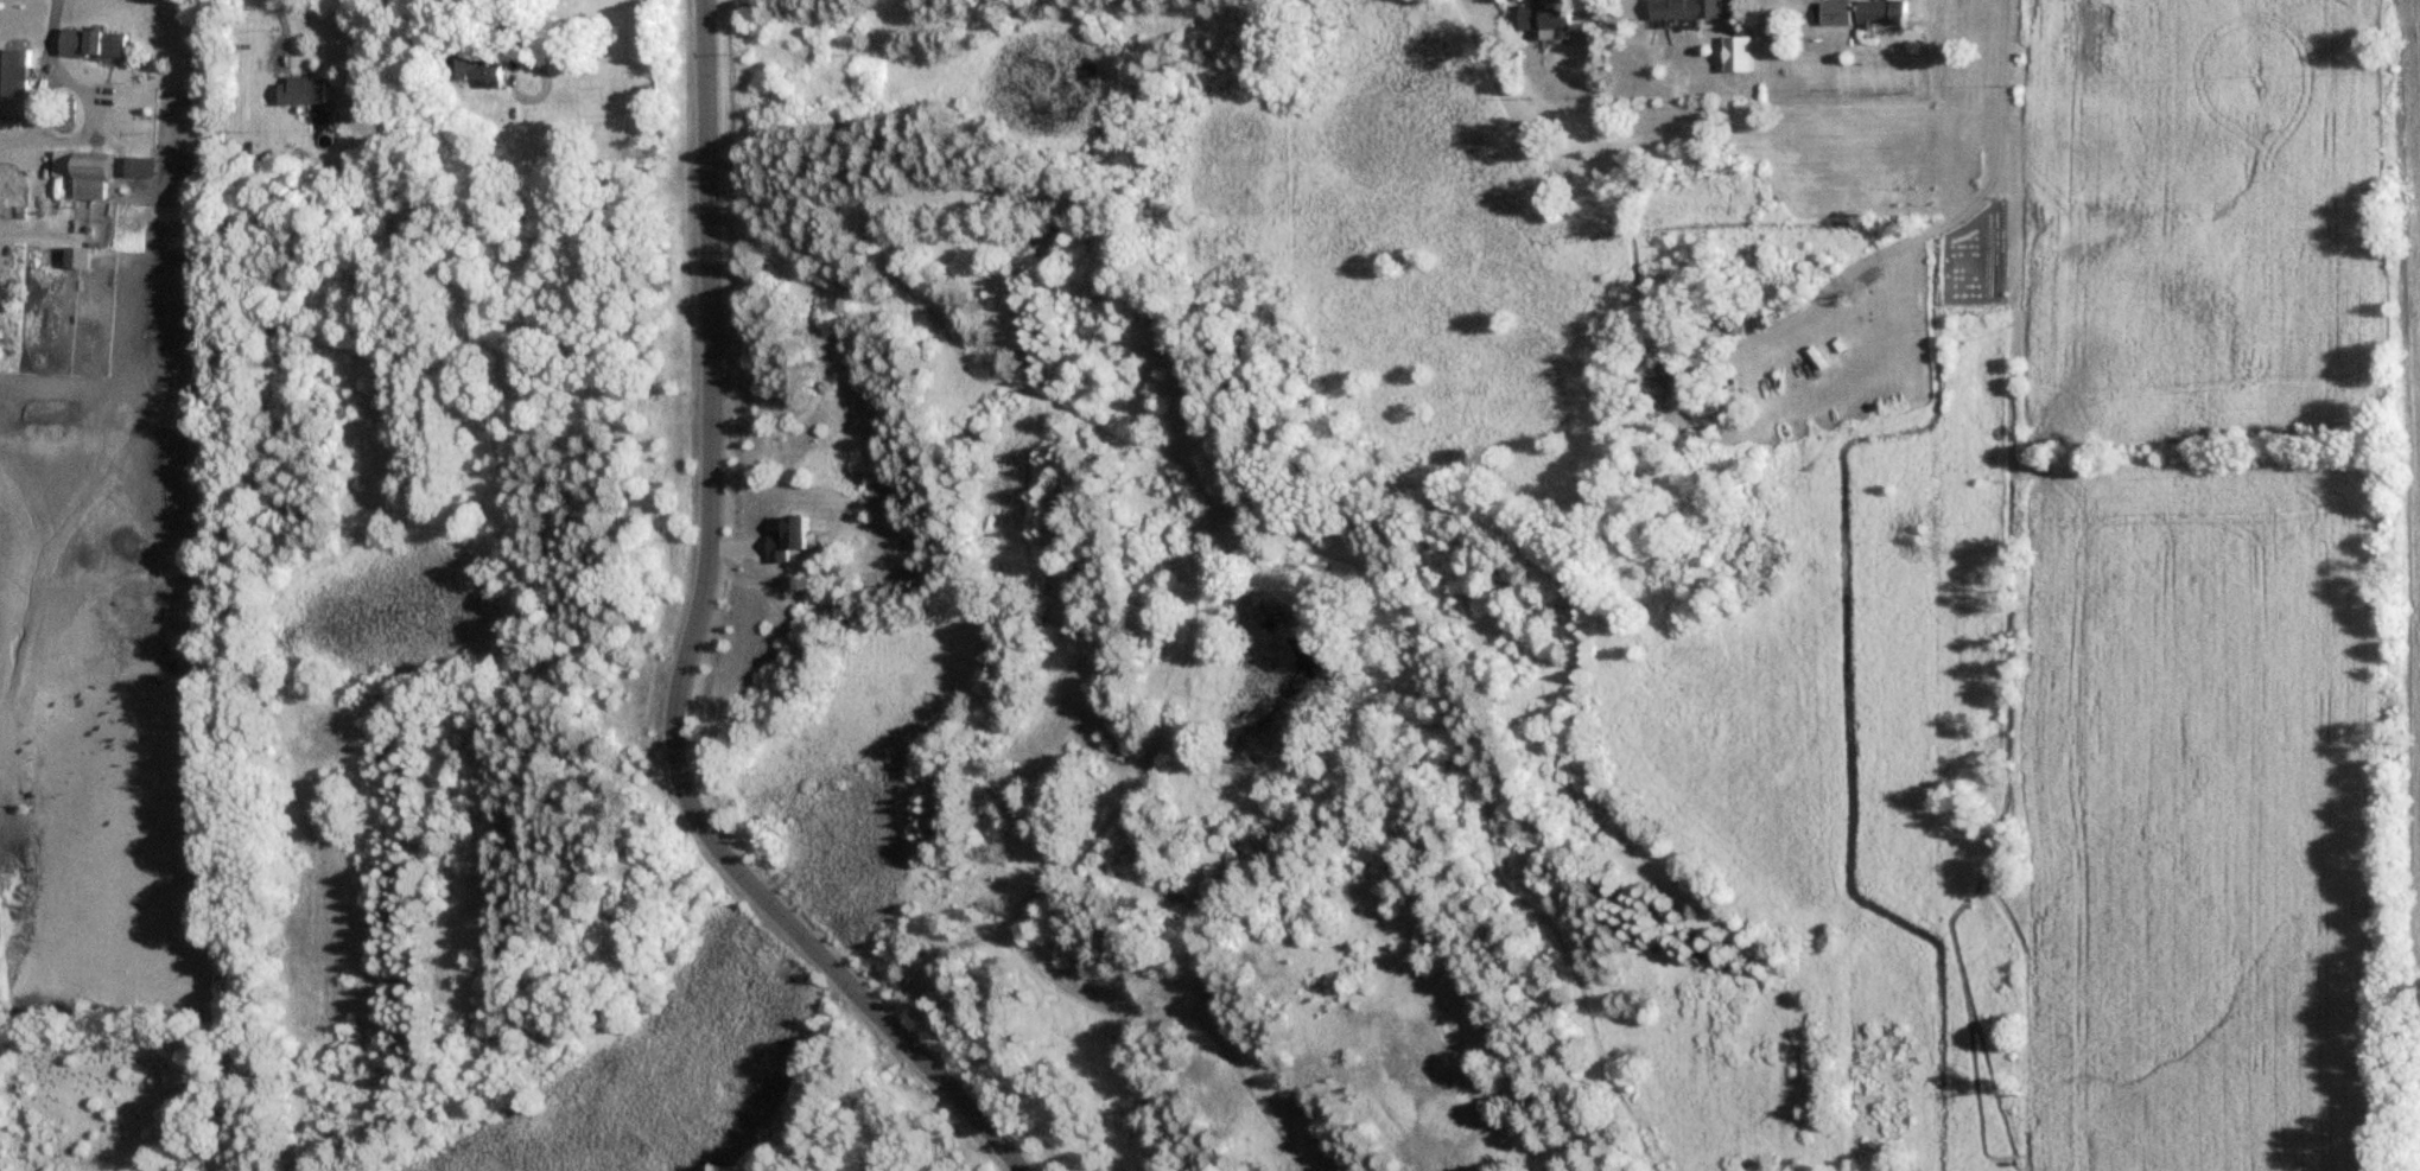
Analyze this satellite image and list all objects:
building: (1685, 8)
building: (1835, 11)
building: (1880, 11)
building: (1543, 18)
road: (279, 28)
building: (93, 42)
building: (1736, 62)
building: (475, 69)
road: (57, 76)
building: (13, 81)
building: (301, 89)
road: (104, 125)
road: (24, 155)
building: (139, 166)
building: (83, 171)
road: (50, 225)
road: (1920, 230)
building: (75, 257)
building: (1657, 382)
road: (698, 645)
building: (1168, 899)

